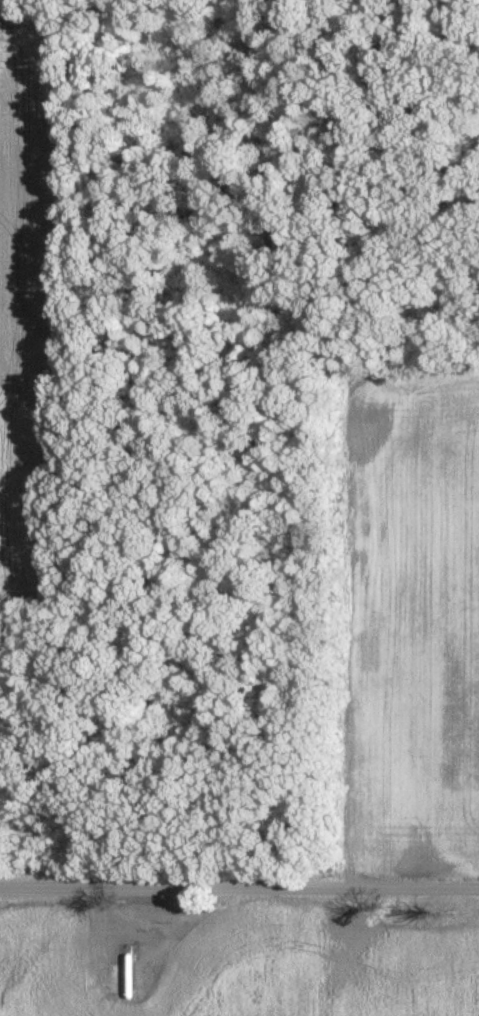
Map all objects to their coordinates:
road: (239, 891)

